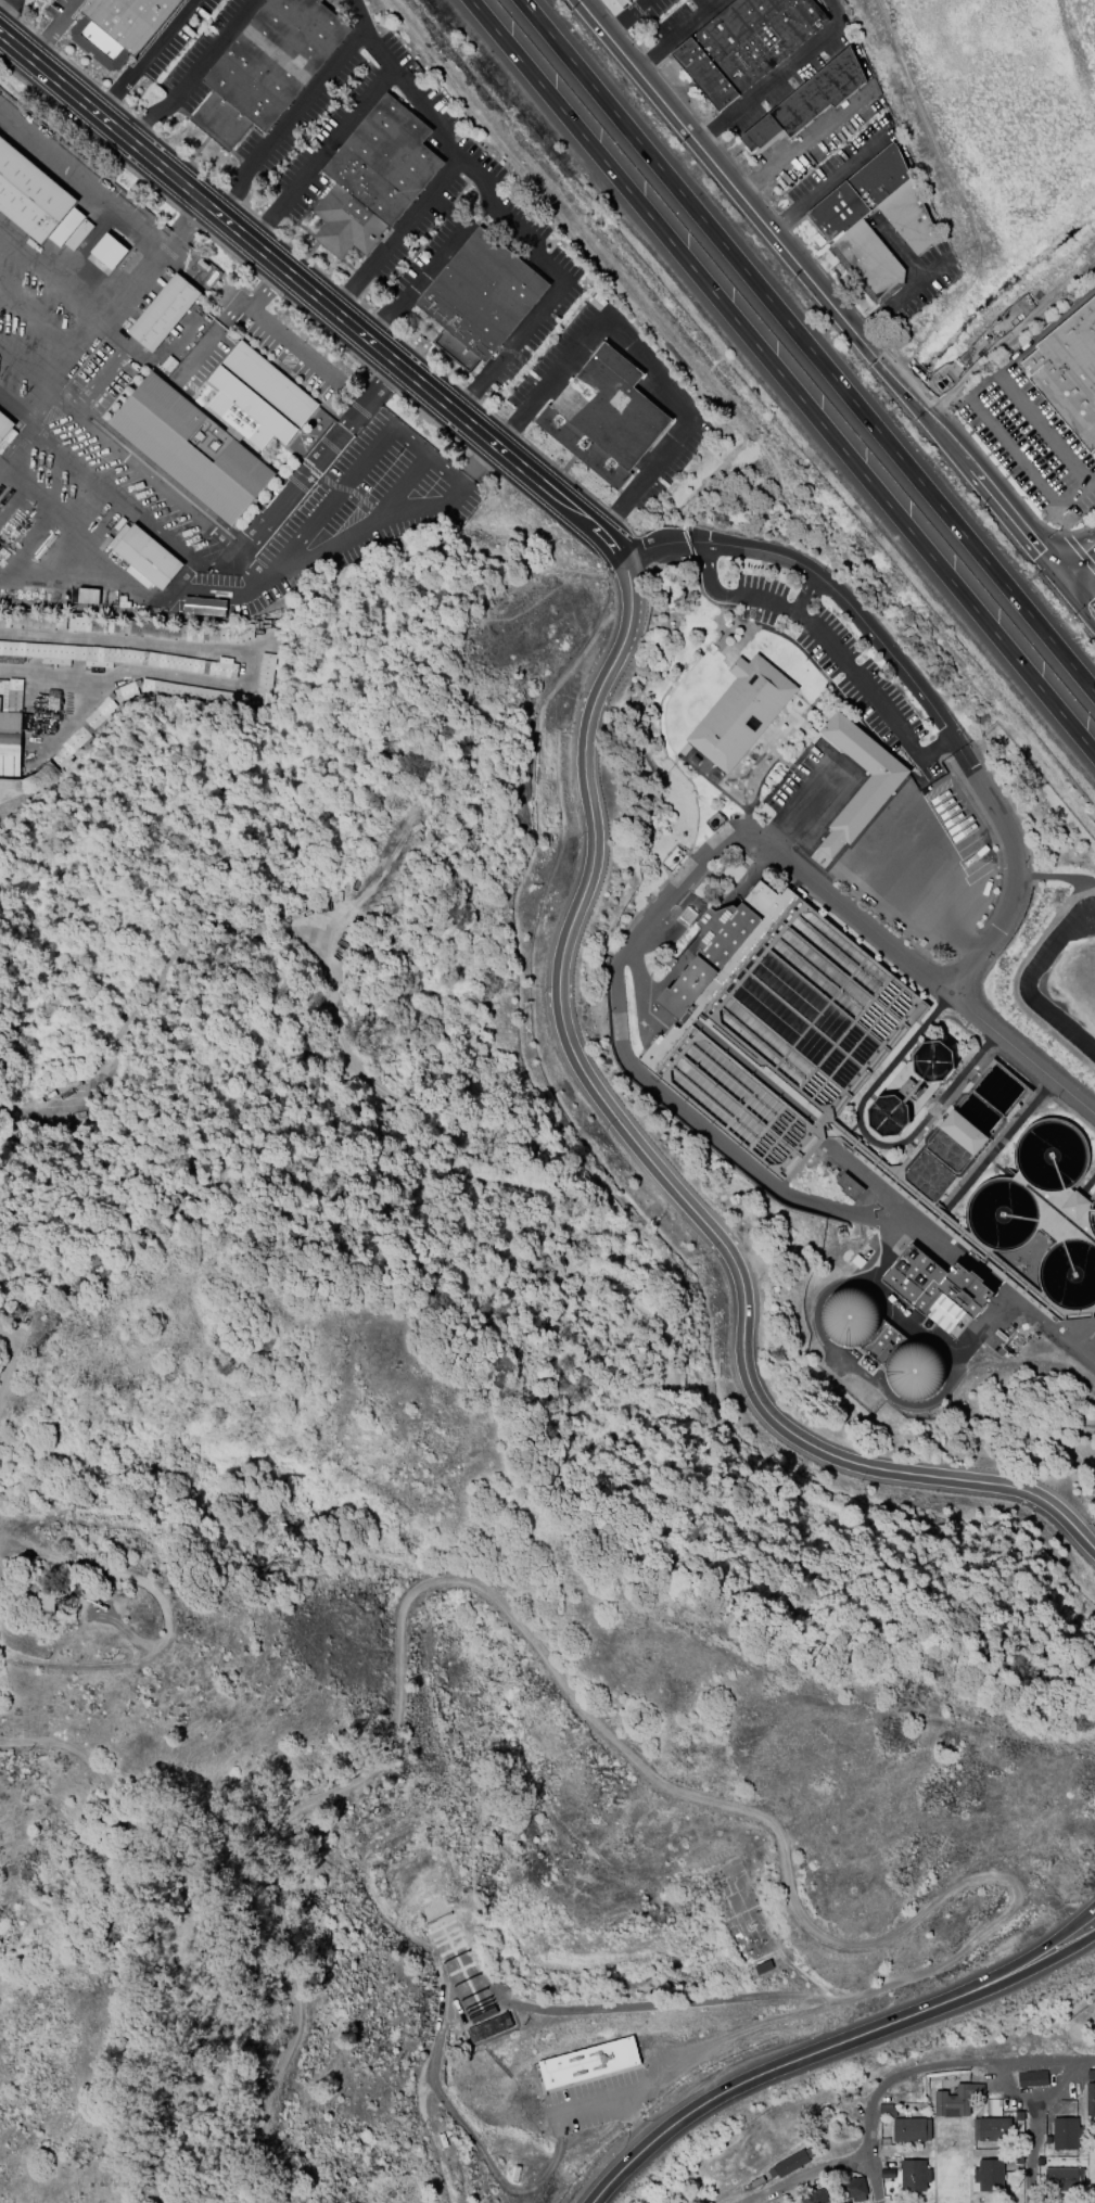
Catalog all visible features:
building: (624, 0)
road: (830, 3)
road: (4, 5)
road: (624, 15)
building: (116, 26)
road: (49, 27)
road: (676, 34)
building: (746, 43)
road: (375, 46)
road: (144, 56)
road: (634, 65)
building: (266, 66)
road: (193, 73)
road: (775, 74)
road: (420, 100)
building: (811, 101)
road: (294, 105)
road: (801, 139)
building: (374, 178)
road: (81, 180)
road: (824, 180)
building: (38, 202)
road: (448, 206)
road: (506, 219)
road: (182, 224)
building: (843, 228)
building: (109, 251)
road: (52, 276)
road: (418, 281)
road: (900, 292)
building: (480, 297)
building: (166, 311)
road: (38, 322)
road: (271, 327)
road: (507, 344)
road: (807, 346)
road: (76, 351)
road: (640, 352)
road: (873, 355)
road: (25, 367)
building: (1068, 371)
road: (782, 377)
road: (14, 413)
building: (603, 417)
road: (1040, 423)
building: (7, 429)
building: (215, 429)
building: (324, 450)
road: (425, 453)
road: (147, 466)
road: (1024, 467)
road: (110, 493)
road: (444, 500)
road: (262, 520)
road: (88, 543)
building: (143, 557)
road: (1079, 561)
traffic signals: (1062, 575)
road: (805, 587)
road: (217, 594)
road: (1079, 595)
building: (140, 628)
road: (100, 640)
road: (830, 641)
building: (116, 658)
building: (265, 673)
road: (916, 683)
building: (163, 697)
building: (741, 712)
building: (10, 743)
road: (587, 793)
road: (908, 797)
building: (867, 801)
road: (808, 808)
road: (902, 846)
road: (933, 880)
wastewater plant: (858, 963)
building: (774, 1023)
road: (1027, 1052)
road: (636, 1068)
building: (911, 1088)
building: (1001, 1090)
building: (965, 1131)
building: (850, 1187)
building: (1074, 1205)
building: (938, 1283)
building: (882, 1344)
road: (110, 1577)
communications tower: (62, 1601)
road: (138, 1635)
road: (88, 1671)
road: (798, 1898)
road: (281, 1918)
road: (135, 1931)
road: (1051, 1940)
road: (1052, 1957)
building: (765, 1968)
road: (604, 2008)
building: (491, 2029)
building: (587, 2062)
road: (784, 2064)
building: (1091, 2074)
building: (1031, 2078)
road: (890, 2083)
road: (647, 2085)
building: (1091, 2099)
building: (956, 2100)
road: (1034, 2103)
building: (887, 2110)
road: (586, 2114)
road: (450, 2118)
road: (637, 2127)
building: (912, 2129)
building: (992, 2129)
building: (1066, 2134)
road: (646, 2137)
road: (1033, 2153)
building: (791, 2163)
building: (888, 2174)
road: (874, 2175)
building: (914, 2175)
building: (989, 2175)
building: (1064, 2179)
building: (853, 2189)
building: (814, 2196)

